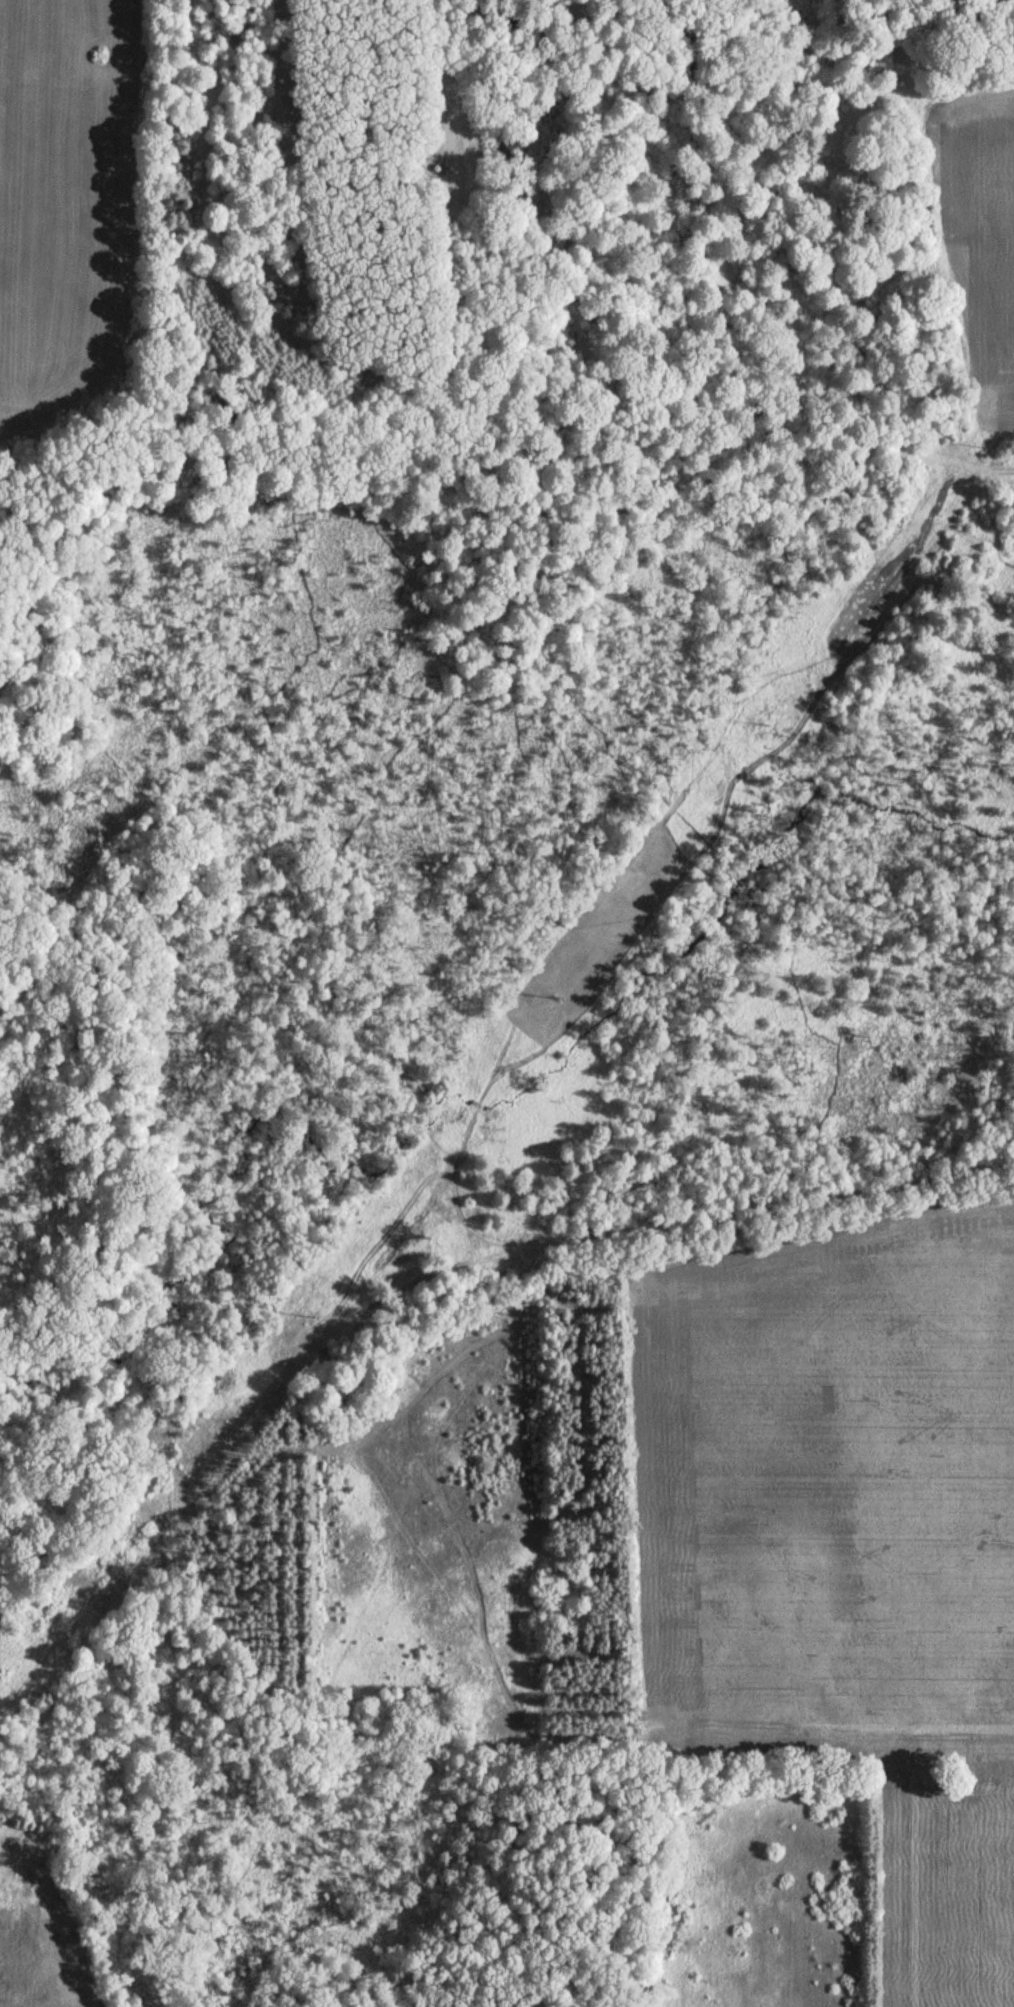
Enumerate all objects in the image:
road: (103, 113)
power tower: (983, 439)
power tower: (766, 724)
power tower: (556, 1003)
power tower: (337, 1286)
power tower: (118, 1570)

